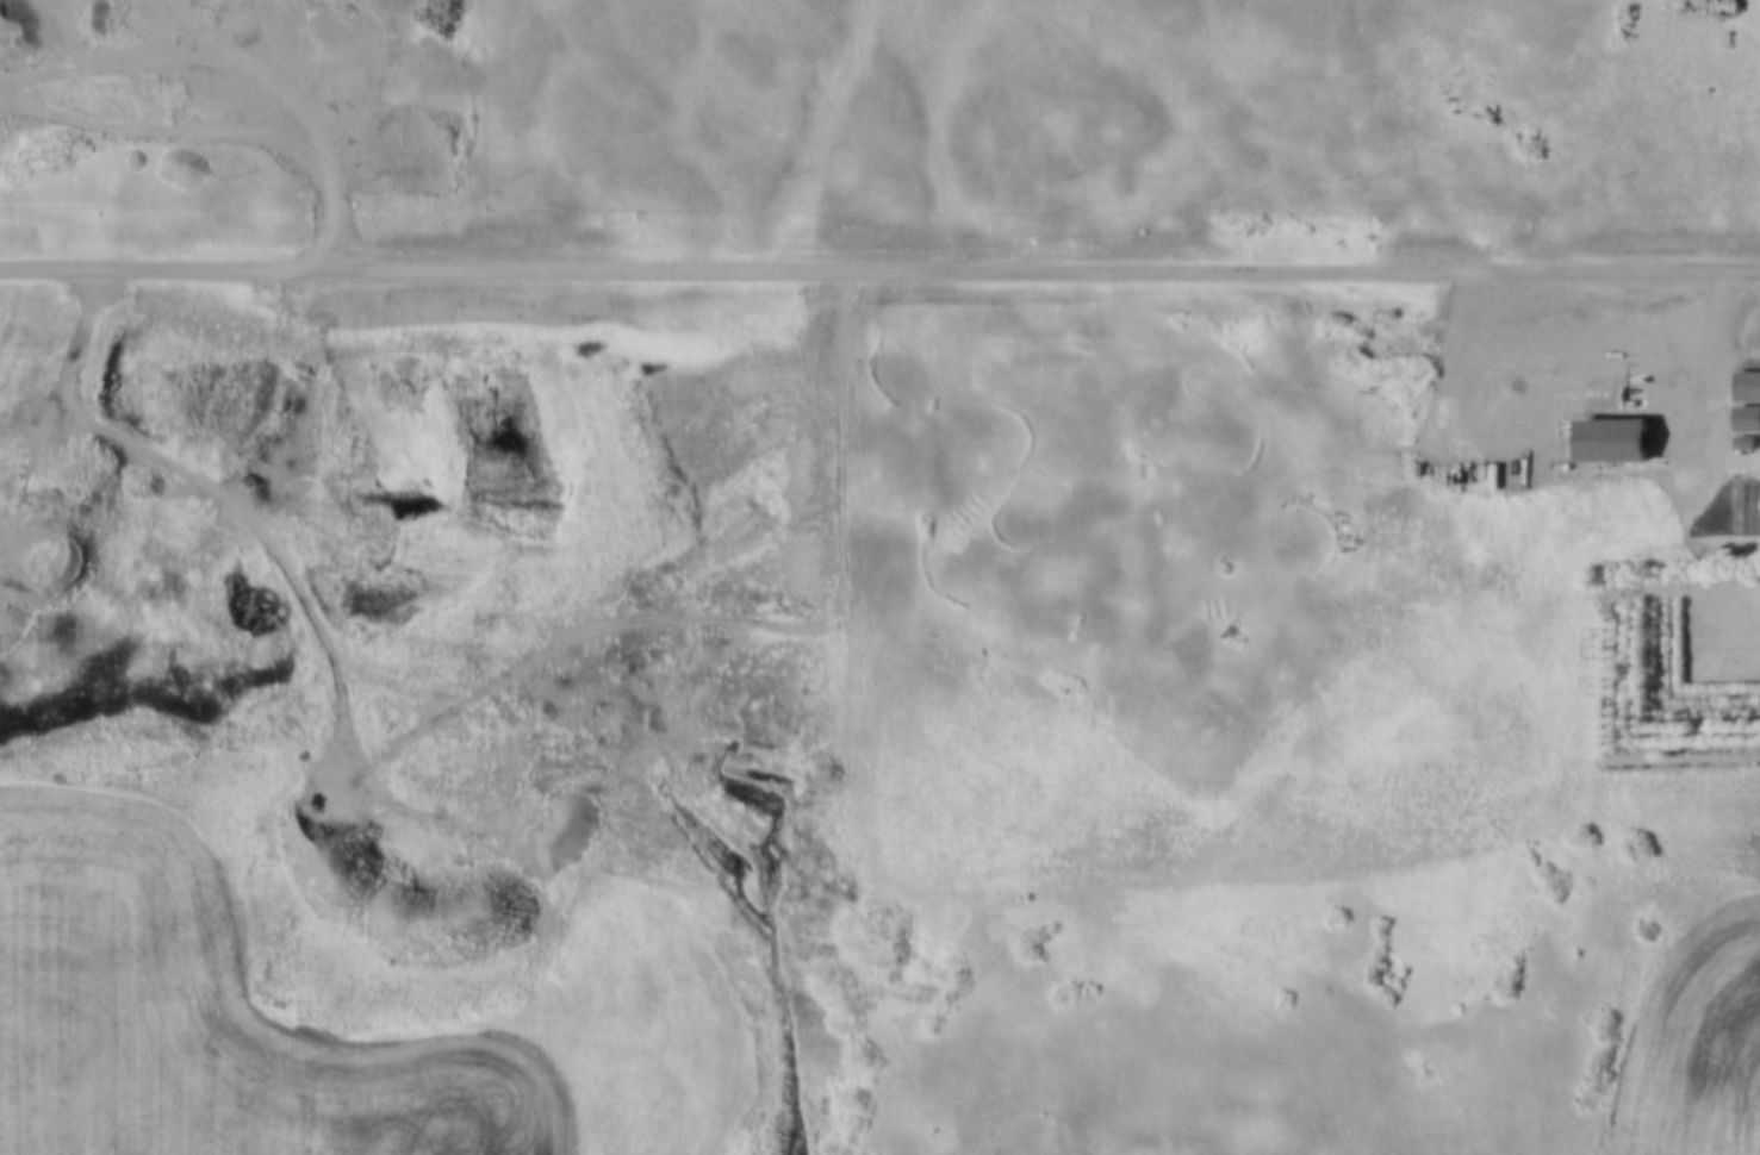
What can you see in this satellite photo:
road: (879, 264)
road: (1709, 342)
road: (305, 346)
building: (1747, 386)
building: (1631, 398)
quarry: (405, 469)

